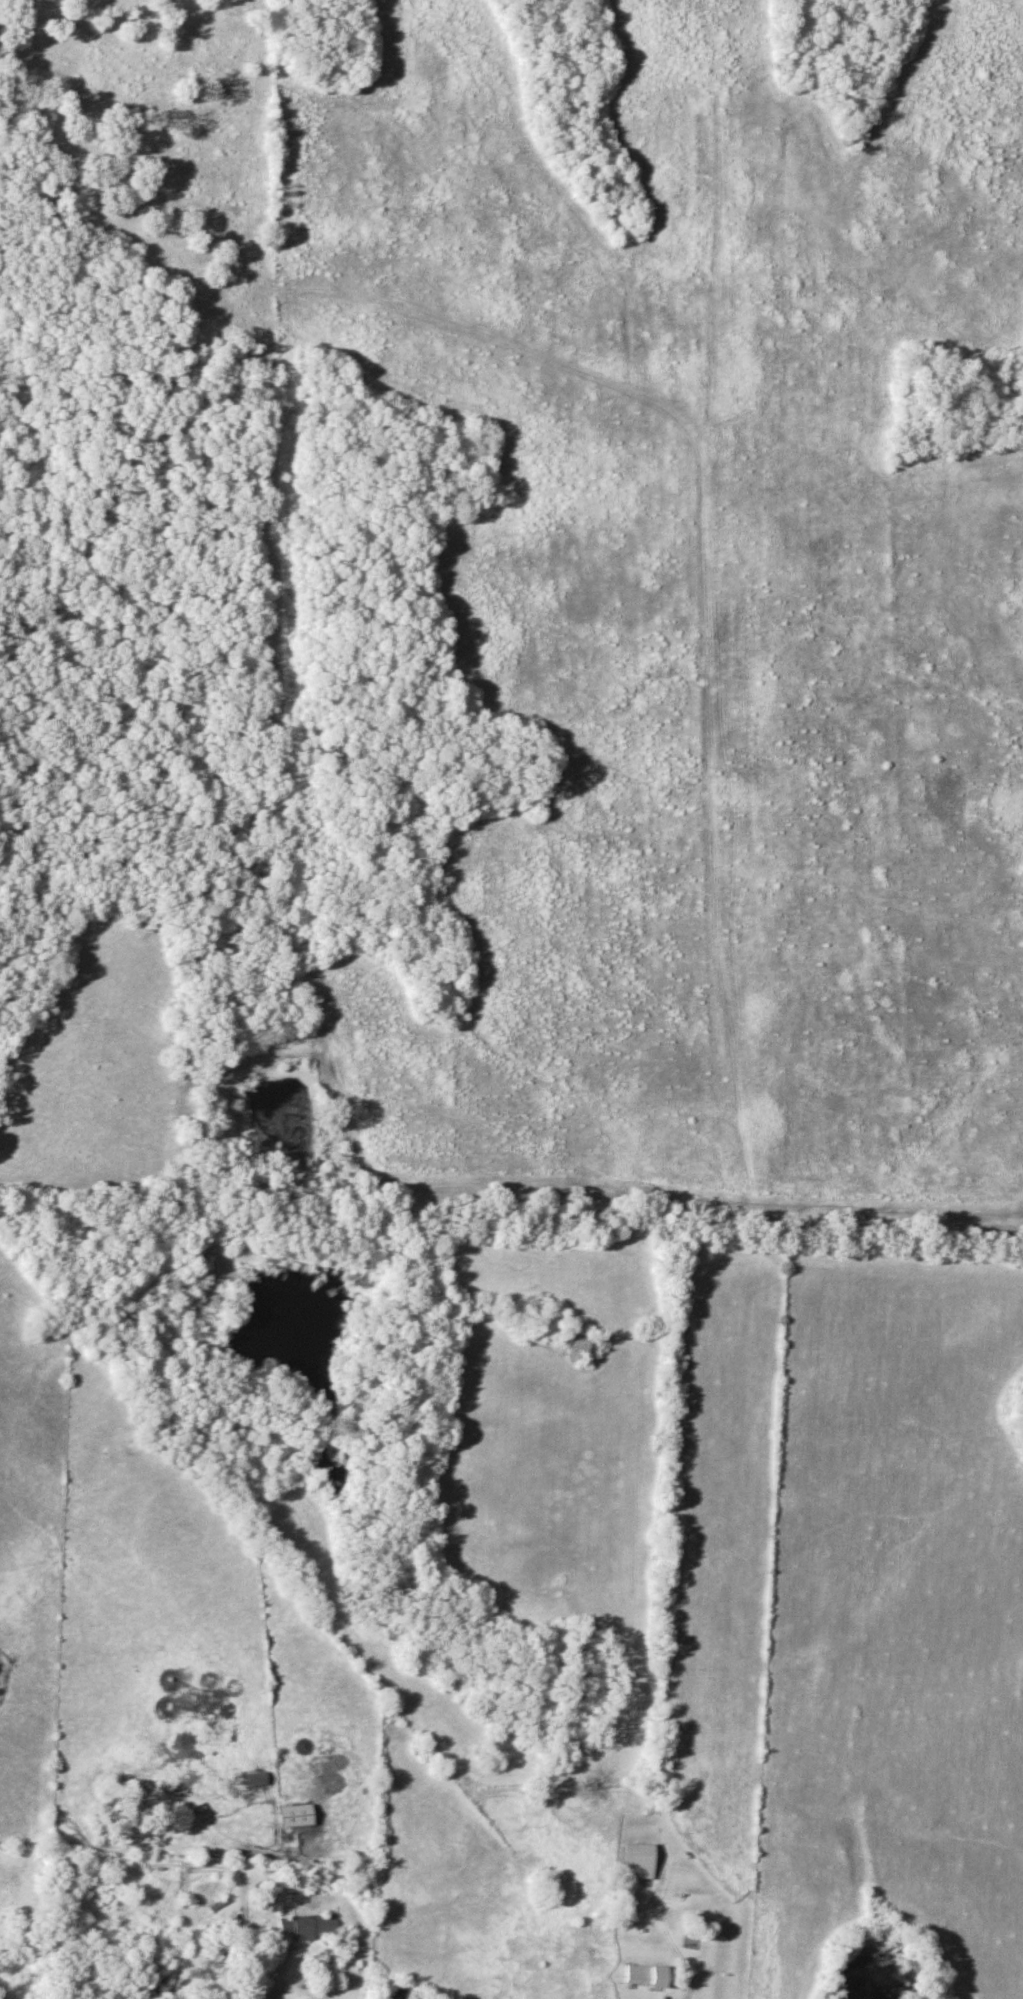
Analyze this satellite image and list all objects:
building: (254, 1779)
building: (293, 1816)
building: (635, 1861)
building: (306, 1926)
road: (279, 1970)
building: (642, 1976)
road: (679, 1983)

